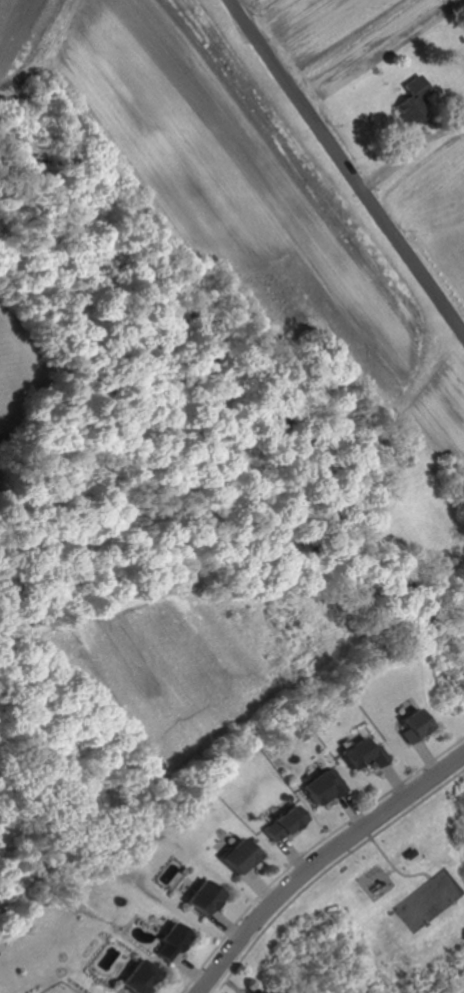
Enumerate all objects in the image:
crop: (17, 34)
crop: (344, 36)
building: (417, 103)
crop: (212, 157)
road: (347, 164)
crop: (445, 404)
crop: (187, 666)
building: (412, 726)
building: (360, 754)
road: (422, 756)
road: (390, 779)
building: (321, 786)
road: (347, 809)
building: (281, 823)
road: (374, 847)
road: (309, 849)
building: (408, 852)
building: (239, 856)
road: (289, 856)
road: (319, 858)
road: (327, 866)
road: (405, 874)
road: (256, 885)
park: (403, 887)
park: (440, 891)
building: (202, 897)
park: (415, 912)
road: (225, 924)
building: (174, 941)
road: (189, 969)
building: (141, 977)
building: (253, 990)

